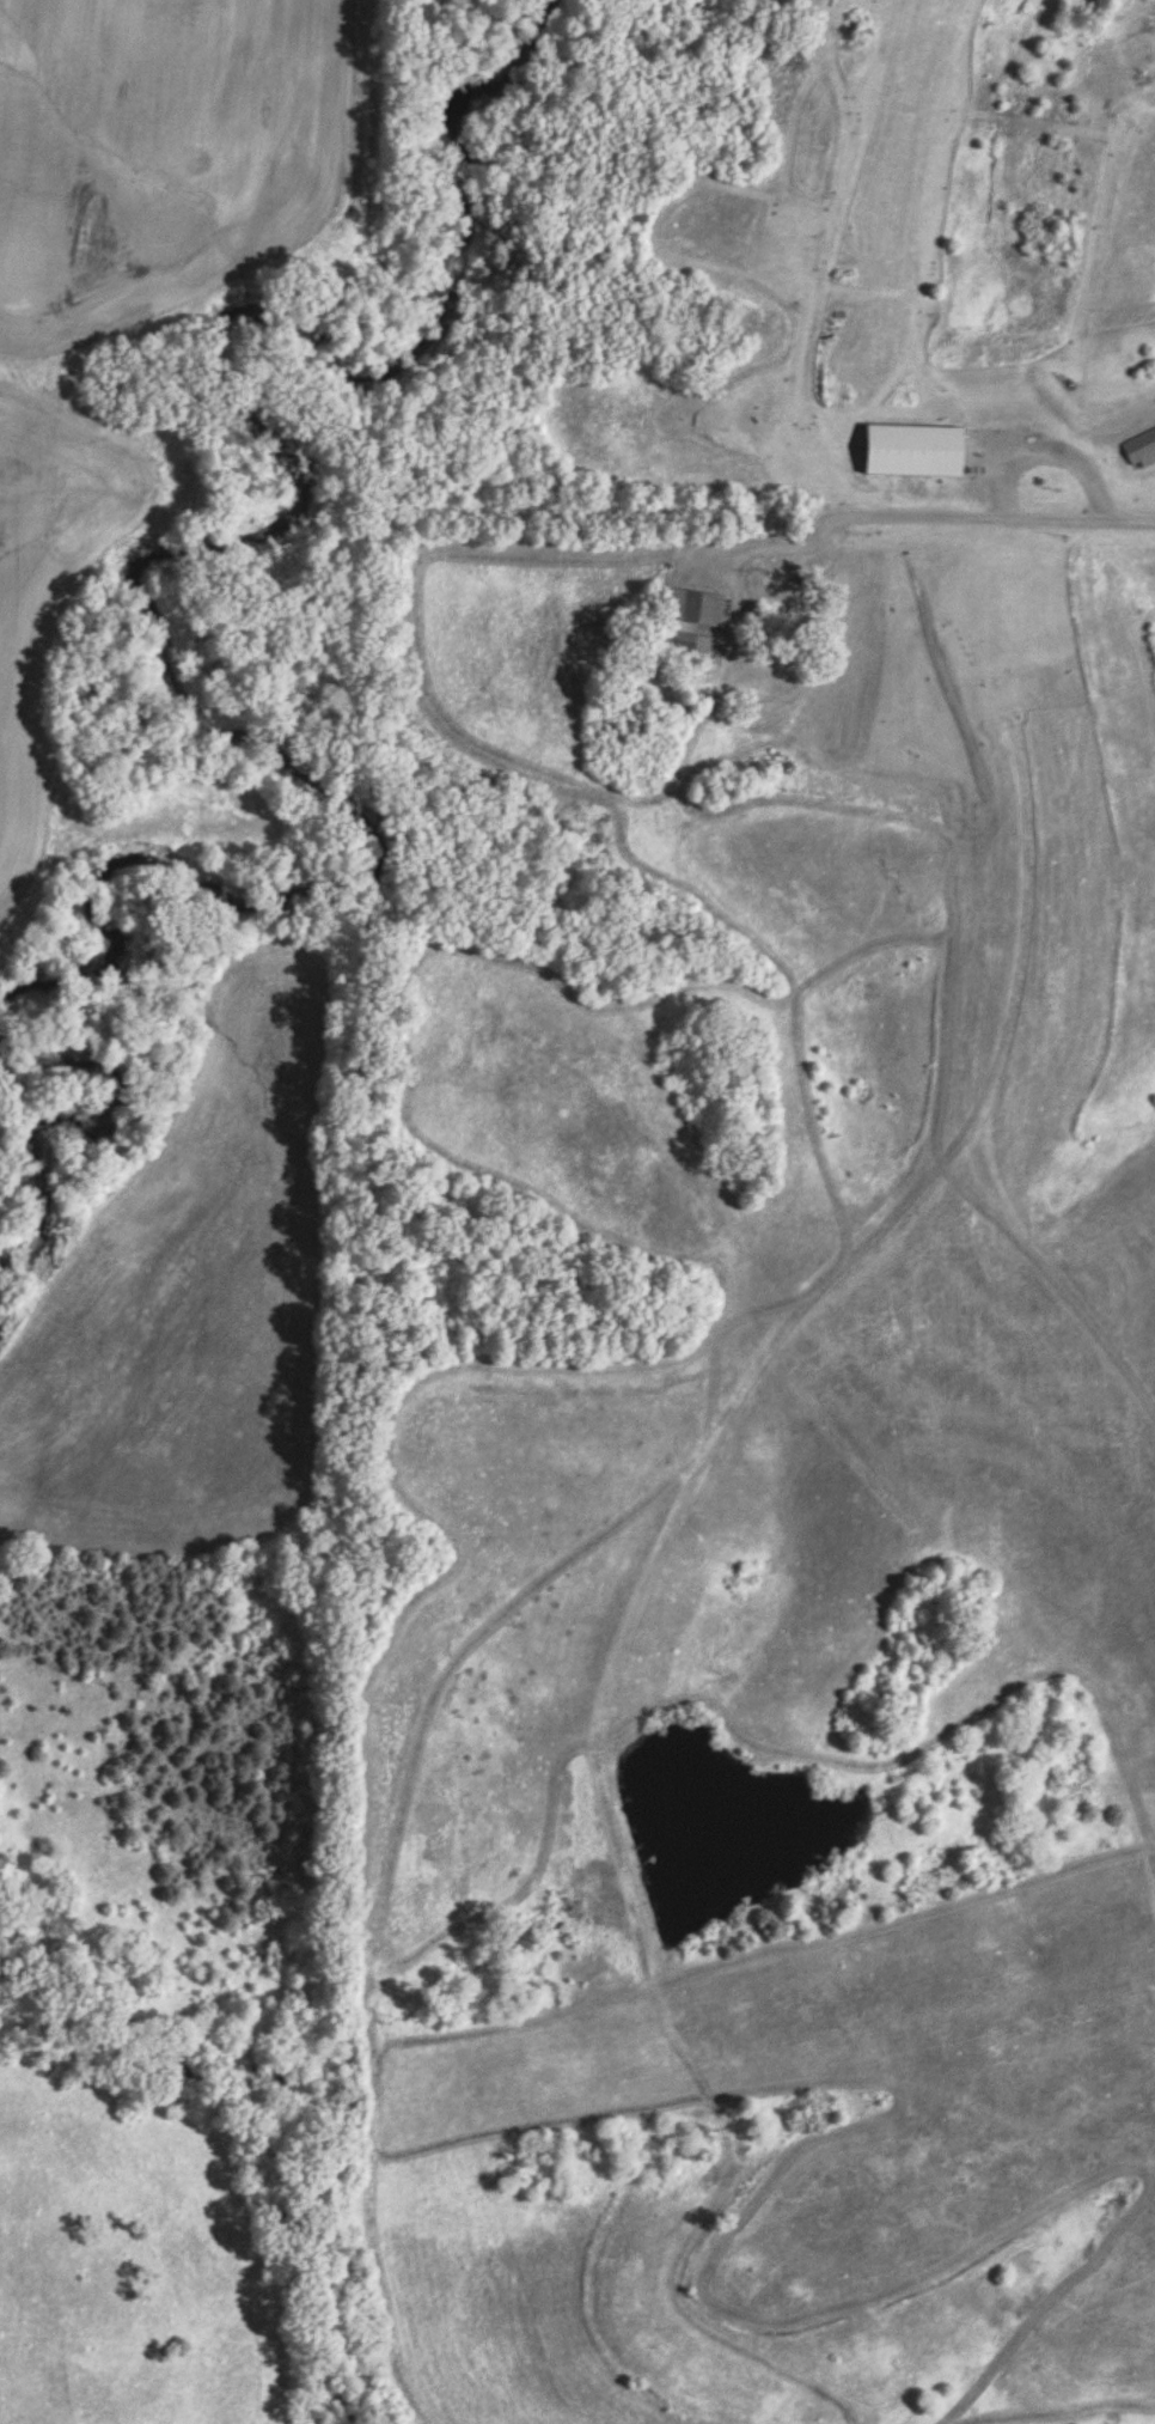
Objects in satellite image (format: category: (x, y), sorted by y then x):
building: (1141, 446)
building: (918, 447)
road: (1000, 519)
building: (693, 621)

